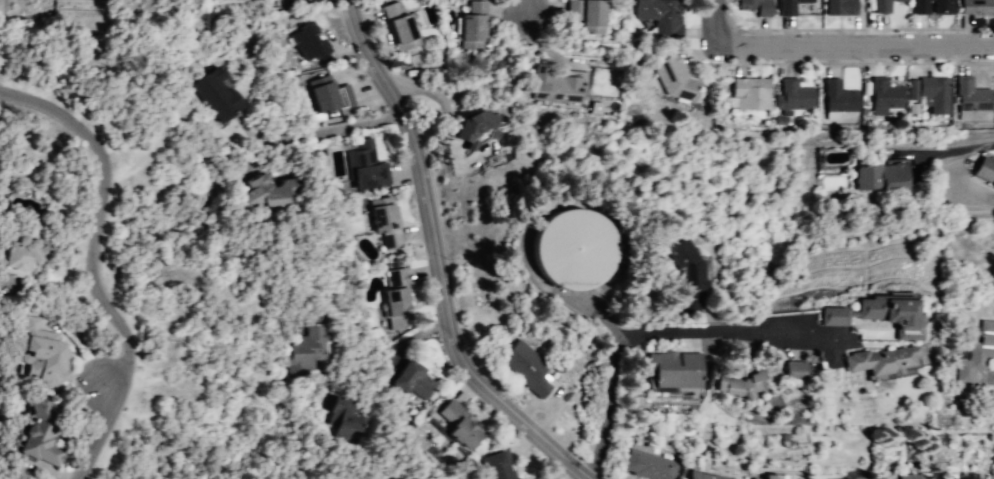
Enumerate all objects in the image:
building: (755, 6)
building: (977, 6)
building: (785, 7)
building: (880, 7)
building: (918, 7)
building: (943, 7)
building: (839, 8)
road: (529, 11)
building: (661, 16)
building: (590, 18)
road: (716, 21)
building: (398, 27)
building: (471, 27)
building: (304, 43)
road: (855, 44)
building: (673, 79)
building: (554, 83)
building: (930, 92)
building: (751, 93)
building: (208, 94)
building: (796, 95)
building: (883, 95)
building: (969, 95)
building: (324, 96)
building: (839, 98)
building: (470, 122)
road: (331, 129)
road: (944, 148)
building: (363, 167)
building: (984, 171)
building: (881, 176)
building: (269, 193)
building: (381, 224)
building: (565, 250)
building: (20, 255)
road: (439, 259)
building: (680, 261)
road: (91, 264)
building: (396, 276)
building: (390, 308)
building: (877, 315)
road: (655, 330)
building: (307, 345)
building: (39, 352)
building: (974, 353)
building: (871, 361)
building: (526, 368)
building: (670, 369)
building: (788, 370)
building: (409, 378)
building: (738, 379)
building: (345, 419)
building: (456, 425)
building: (41, 430)
building: (490, 467)
building: (645, 467)
building: (769, 475)
building: (699, 476)
building: (910, 476)
building: (858, 477)
building: (878, 478)

